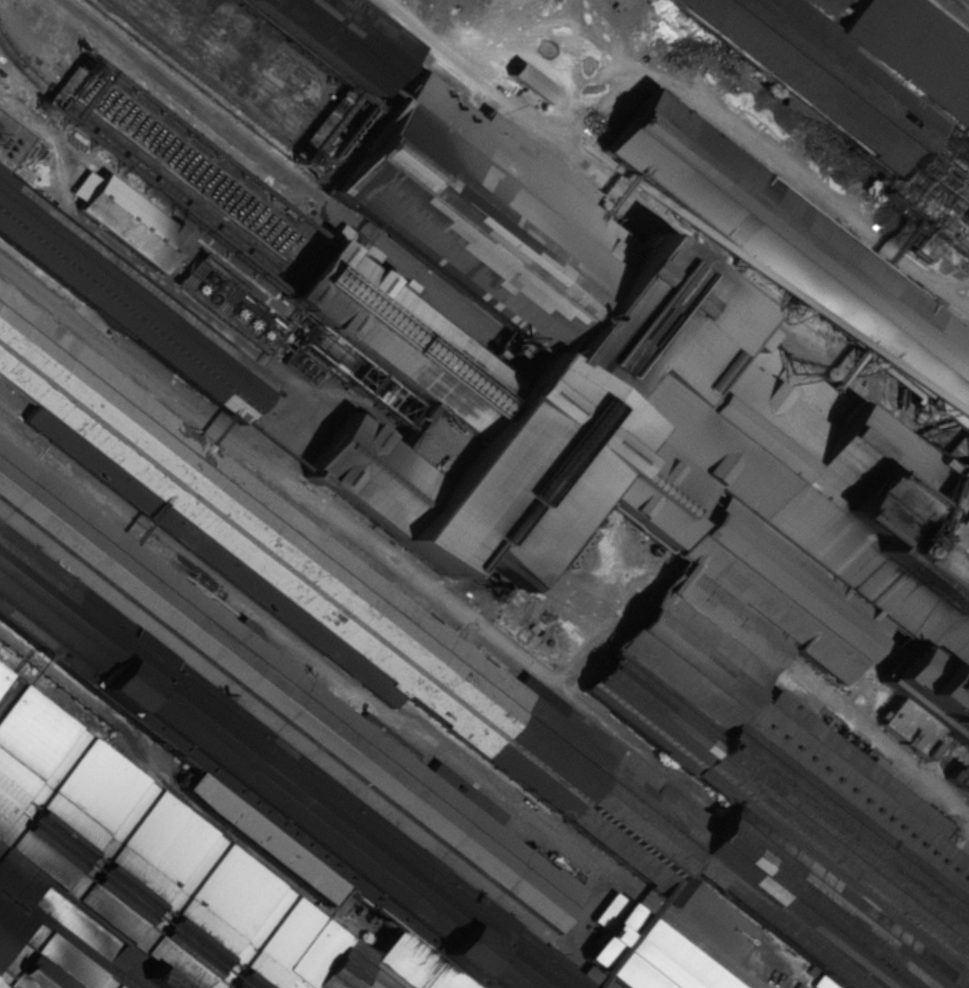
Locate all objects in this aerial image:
railway: (968, 0)
building: (619, 4)
railway: (962, 6)
railway: (960, 7)
railway: (947, 17)
road: (942, 20)
building: (322, 39)
building: (844, 64)
building: (529, 83)
railway: (214, 86)
power substation: (13, 140)
railway: (138, 149)
railway: (139, 161)
building: (290, 196)
railway: (667, 218)
building: (965, 220)
railway: (668, 242)
building: (794, 254)
building: (127, 304)
building: (797, 521)
building: (583, 536)
road: (374, 704)
railway: (156, 777)
building: (225, 802)
building: (644, 952)

